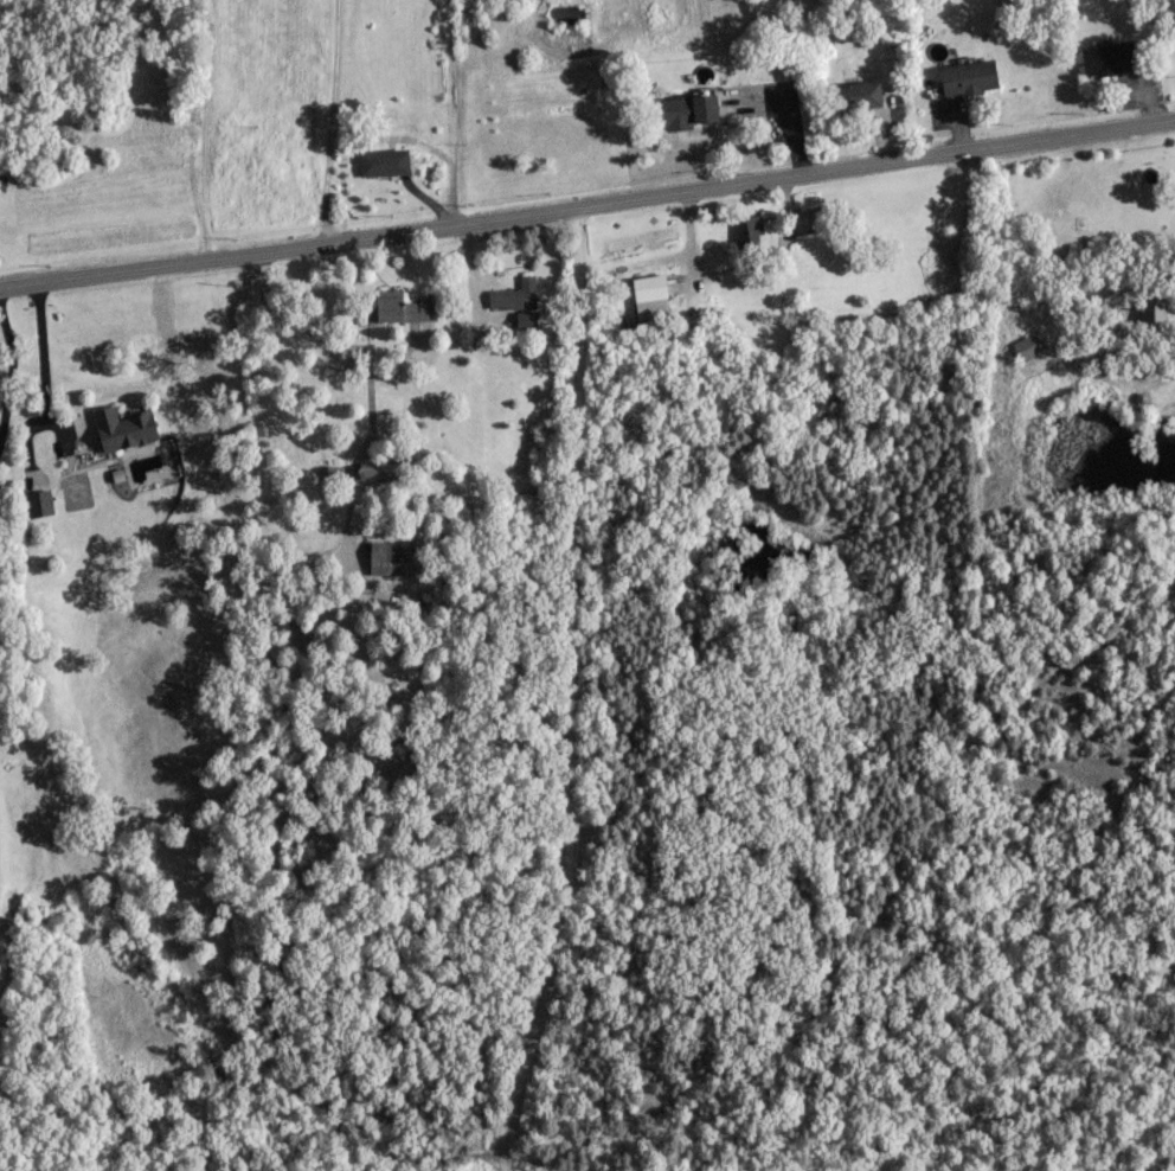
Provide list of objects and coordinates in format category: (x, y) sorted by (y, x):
building: (1106, 56)
building: (967, 76)
building: (854, 92)
building: (688, 109)
road: (328, 117)
road: (201, 127)
building: (383, 160)
road: (586, 199)
building: (747, 230)
building: (513, 293)
building: (649, 295)
building: (403, 307)
building: (1151, 309)
building: (1028, 345)
road: (1170, 354)
road: (41, 363)
road: (8, 371)
road: (365, 371)
building: (122, 427)
building: (378, 471)
building: (333, 473)
building: (38, 501)
building: (389, 557)
road: (565, 691)

